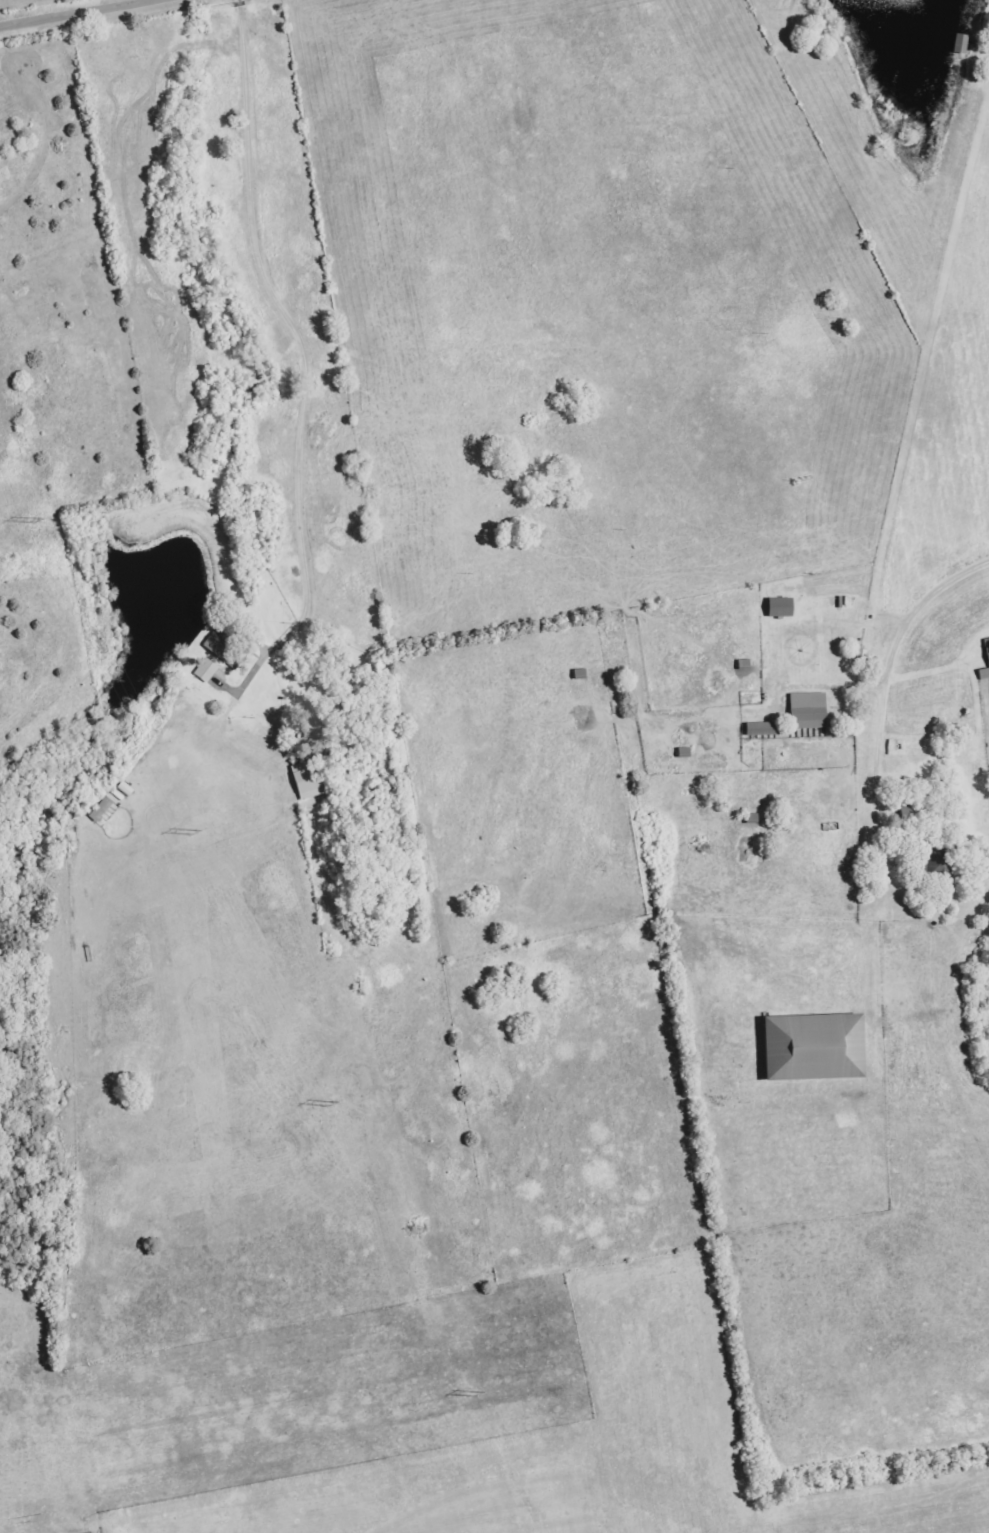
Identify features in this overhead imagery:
road: (77, 12)
road: (295, 332)
power tower: (34, 521)
building: (782, 608)
building: (988, 644)
building: (222, 647)
building: (208, 671)
building: (985, 674)
road: (881, 682)
building: (810, 711)
building: (763, 729)
building: (310, 780)
building: (103, 810)
power tower: (190, 832)
building: (937, 858)
building: (817, 1048)
power tower: (327, 1104)
power tower: (471, 1393)

